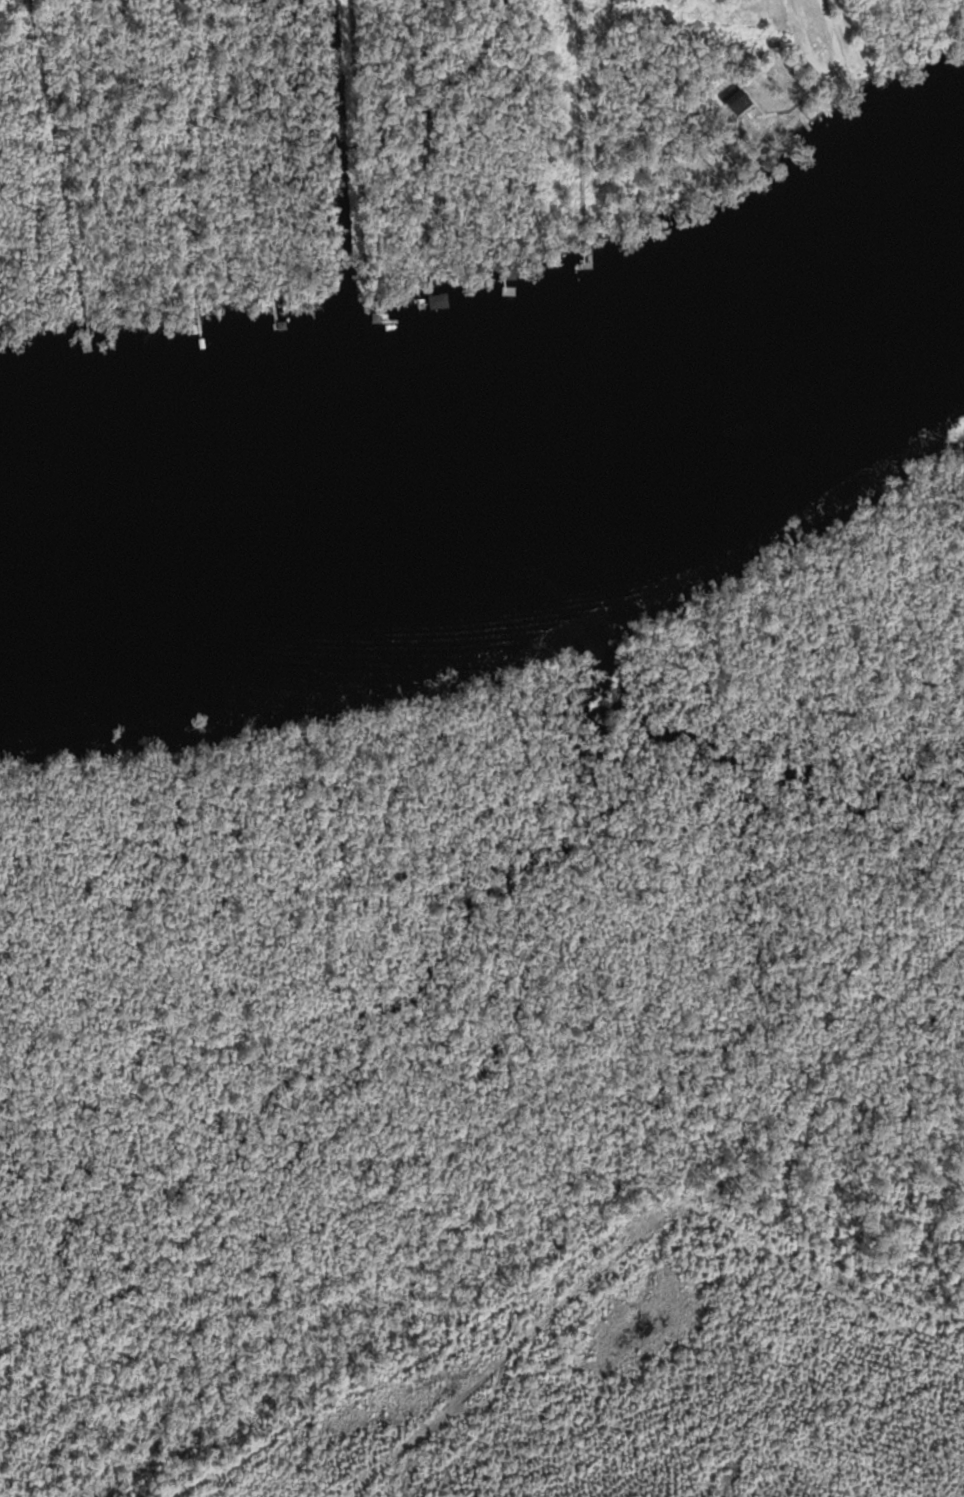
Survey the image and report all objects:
building: (739, 102)
building: (439, 300)
river: (510, 466)

